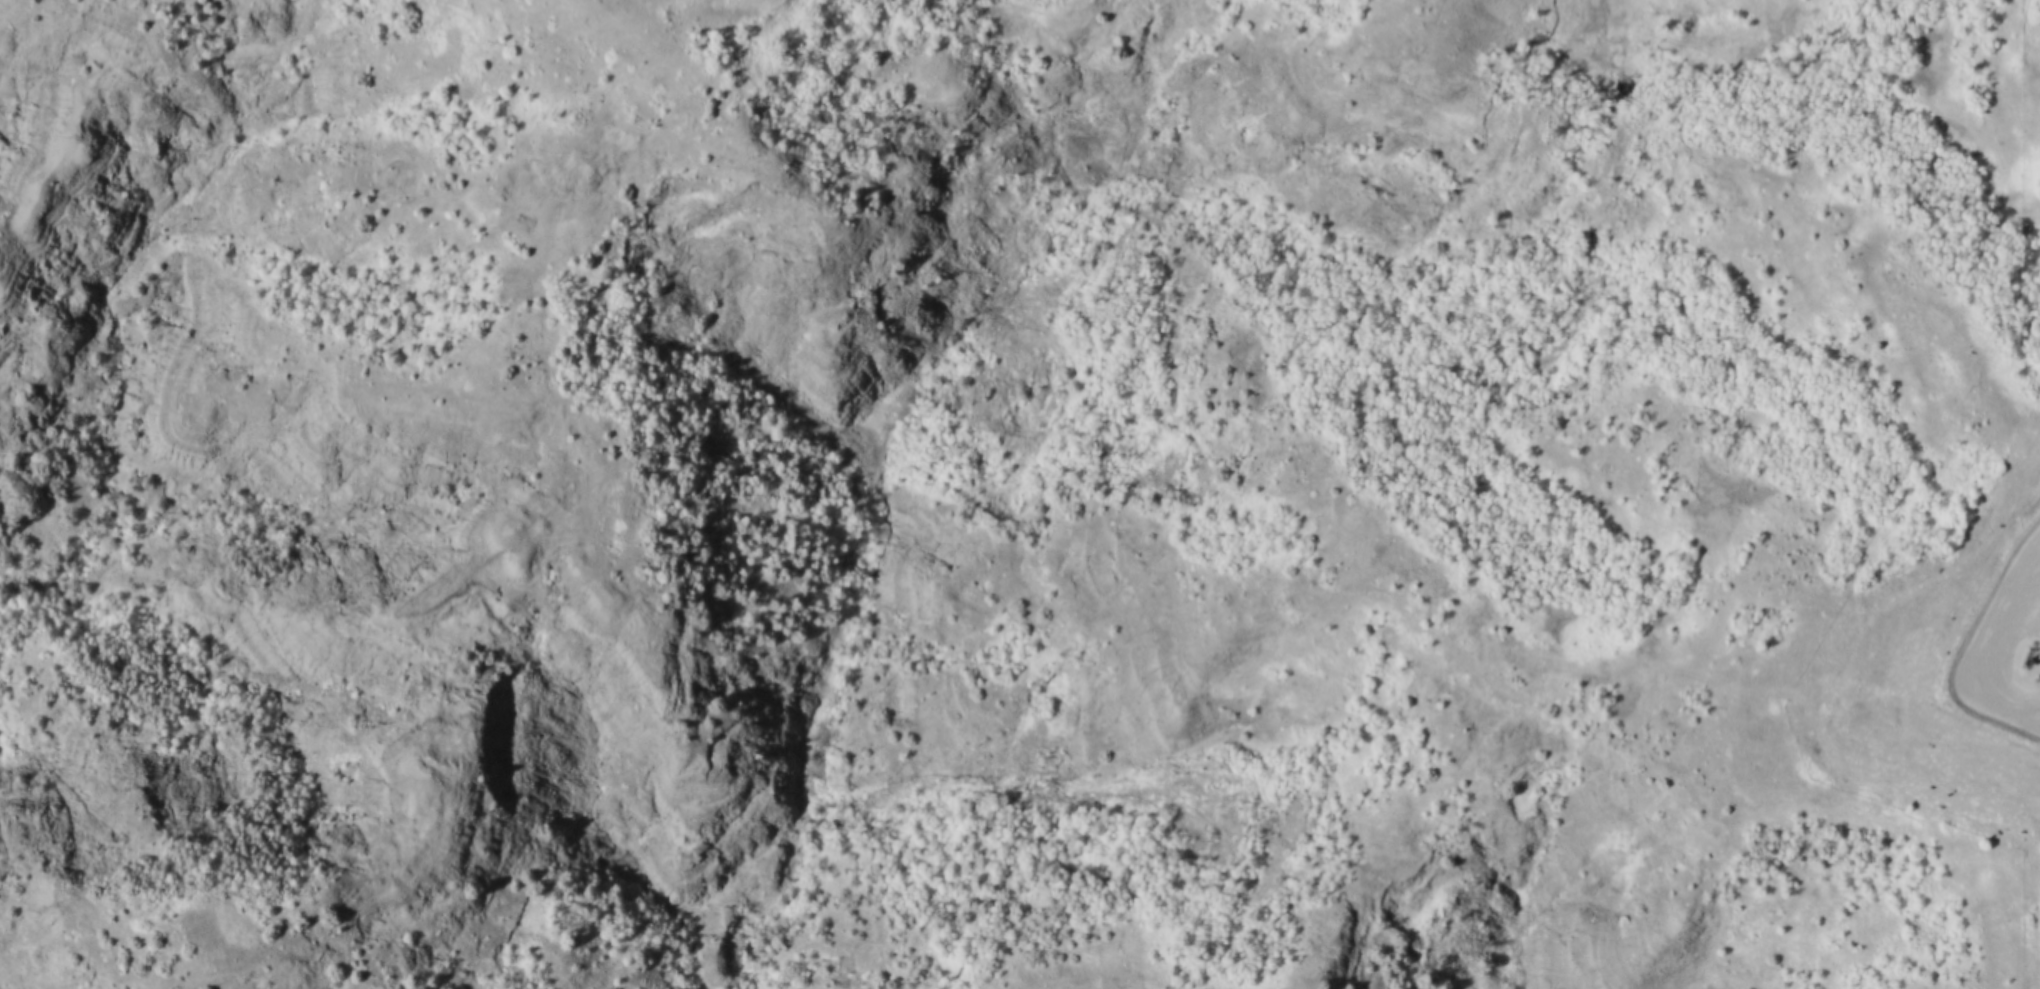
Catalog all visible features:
petroleum well: (2020, 661)

